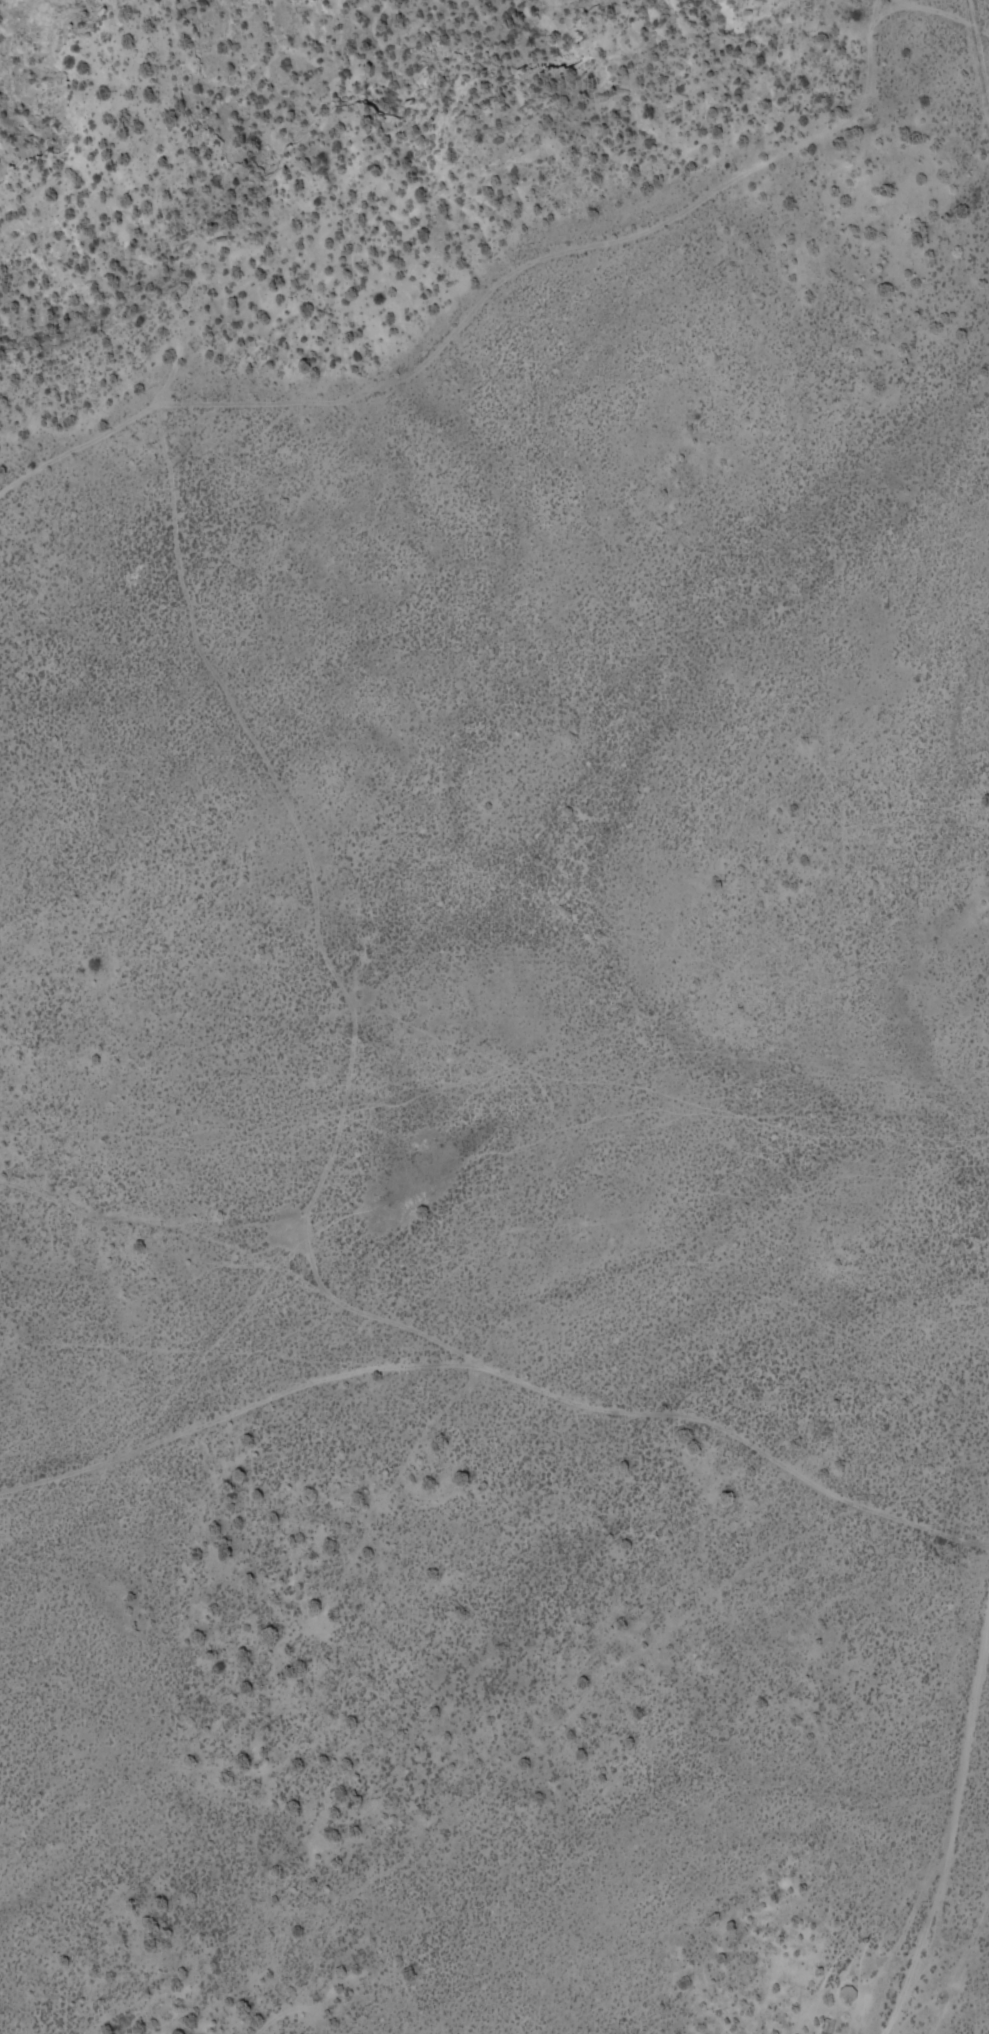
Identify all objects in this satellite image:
road: (492, 291)
road: (500, 1409)

